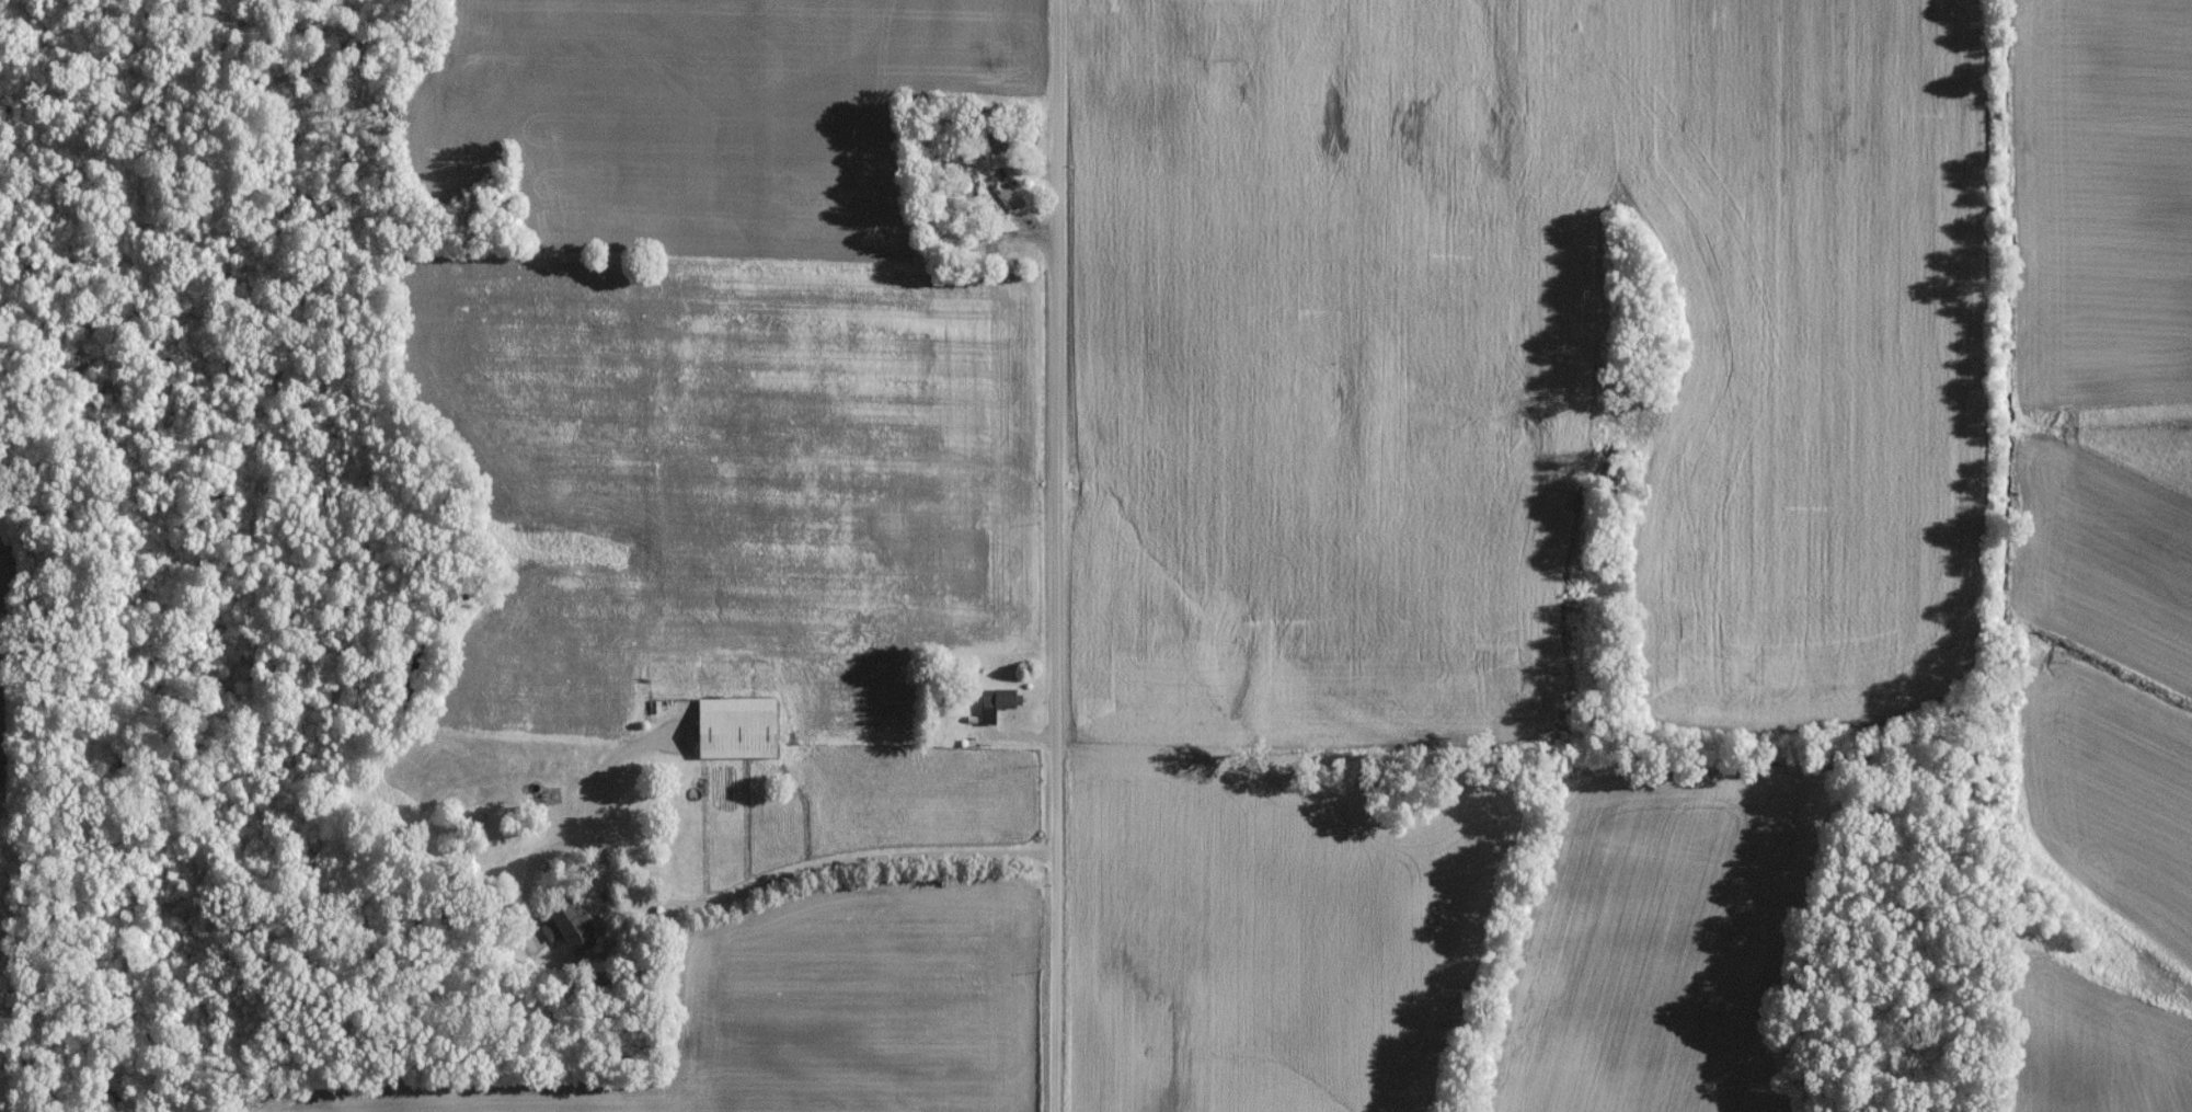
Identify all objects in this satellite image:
road: (1053, 555)
building: (996, 709)
building: (737, 734)
road: (826, 867)
building: (567, 931)

